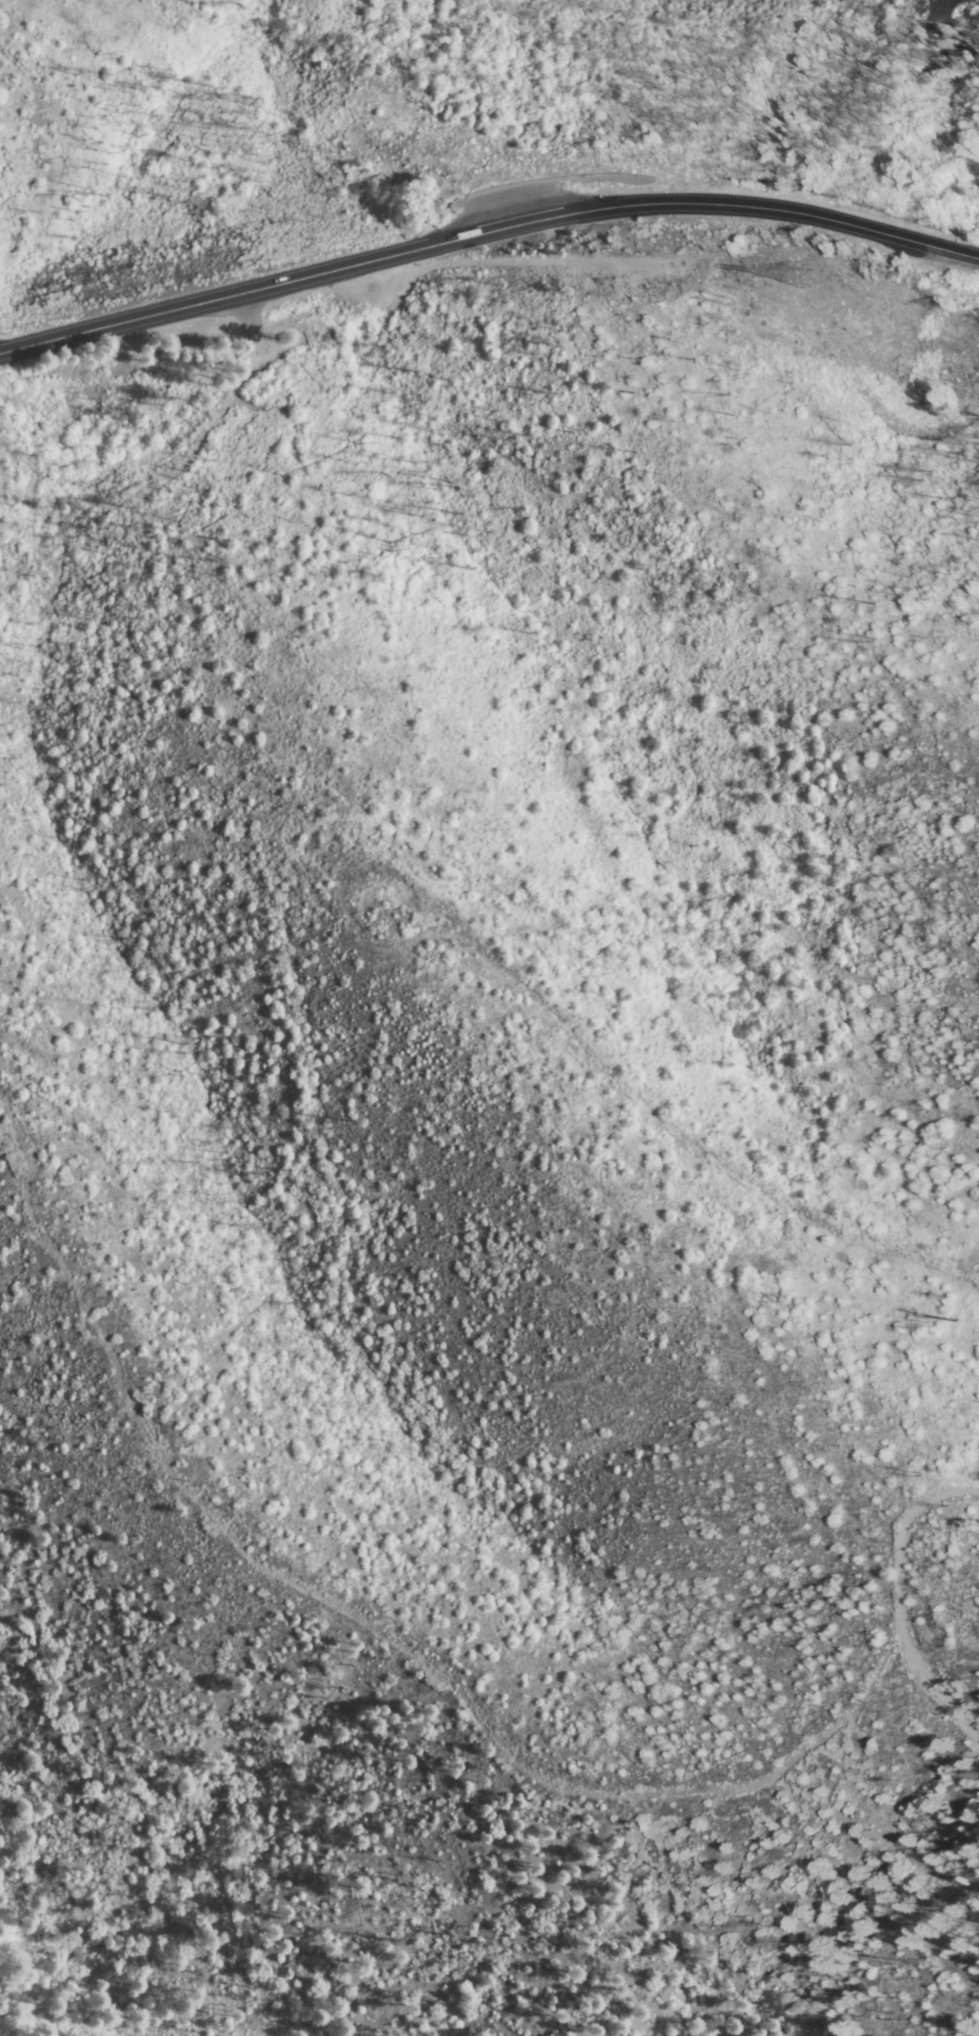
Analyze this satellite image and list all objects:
parking lot: (500, 210)
road: (485, 230)
power tower: (813, 279)
road: (902, 1605)

